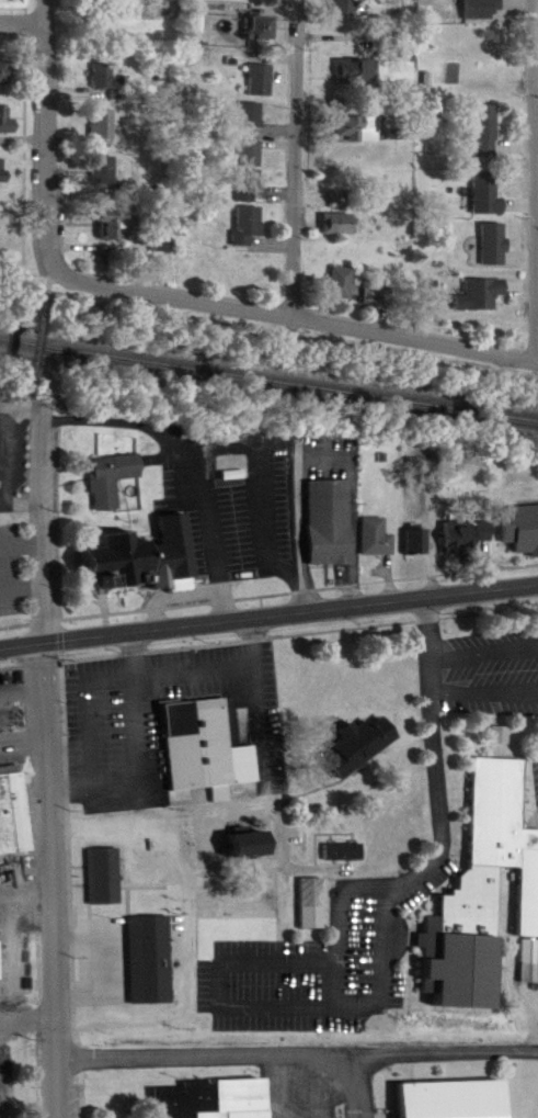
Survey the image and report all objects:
building: (347, 7)
road: (20, 9)
building: (261, 29)
road: (330, 31)
building: (353, 72)
building: (3, 74)
building: (100, 77)
building: (257, 79)
building: (249, 116)
road: (39, 118)
building: (4, 123)
building: (100, 125)
building: (352, 129)
building: (485, 132)
road: (16, 146)
road: (298, 154)
building: (248, 155)
building: (1, 172)
building: (485, 195)
road: (535, 197)
building: (335, 200)
building: (243, 226)
building: (114, 228)
building: (337, 229)
building: (491, 246)
road: (43, 275)
building: (337, 284)
road: (293, 294)
building: (478, 296)
building: (374, 297)
road: (282, 305)
road: (34, 347)
railway: (268, 370)
road: (31, 407)
road: (232, 431)
building: (115, 479)
building: (518, 513)
road: (62, 519)
road: (302, 523)
building: (332, 523)
road: (46, 524)
road: (23, 529)
building: (466, 538)
building: (378, 539)
building: (136, 542)
building: (419, 543)
road: (23, 575)
road: (268, 581)
road: (268, 616)
road: (268, 625)
road: (484, 637)
parking lot: (493, 658)
road: (122, 666)
road: (24, 675)
road: (487, 680)
parking lot: (19, 711)
road: (25, 721)
building: (356, 727)
building: (197, 736)
road: (141, 748)
building: (360, 748)
parking lot: (536, 752)
building: (12, 800)
road: (110, 809)
road: (171, 822)
building: (241, 828)
building: (344, 837)
building: (257, 847)
building: (346, 854)
building: (101, 860)
road: (267, 863)
road: (27, 879)
building: (482, 879)
road: (56, 880)
road: (75, 882)
building: (312, 889)
road: (341, 925)
road: (104, 941)
building: (146, 944)
road: (386, 948)
parking lot: (323, 950)
road: (30, 1007)
parking lot: (4, 1020)
road: (299, 1043)
park: (31, 1062)
road: (285, 1080)
road: (329, 1081)
road: (358, 1082)
parking lot: (301, 1086)
building: (204, 1089)
building: (449, 1092)
park: (2, 1106)
road: (323, 1110)

